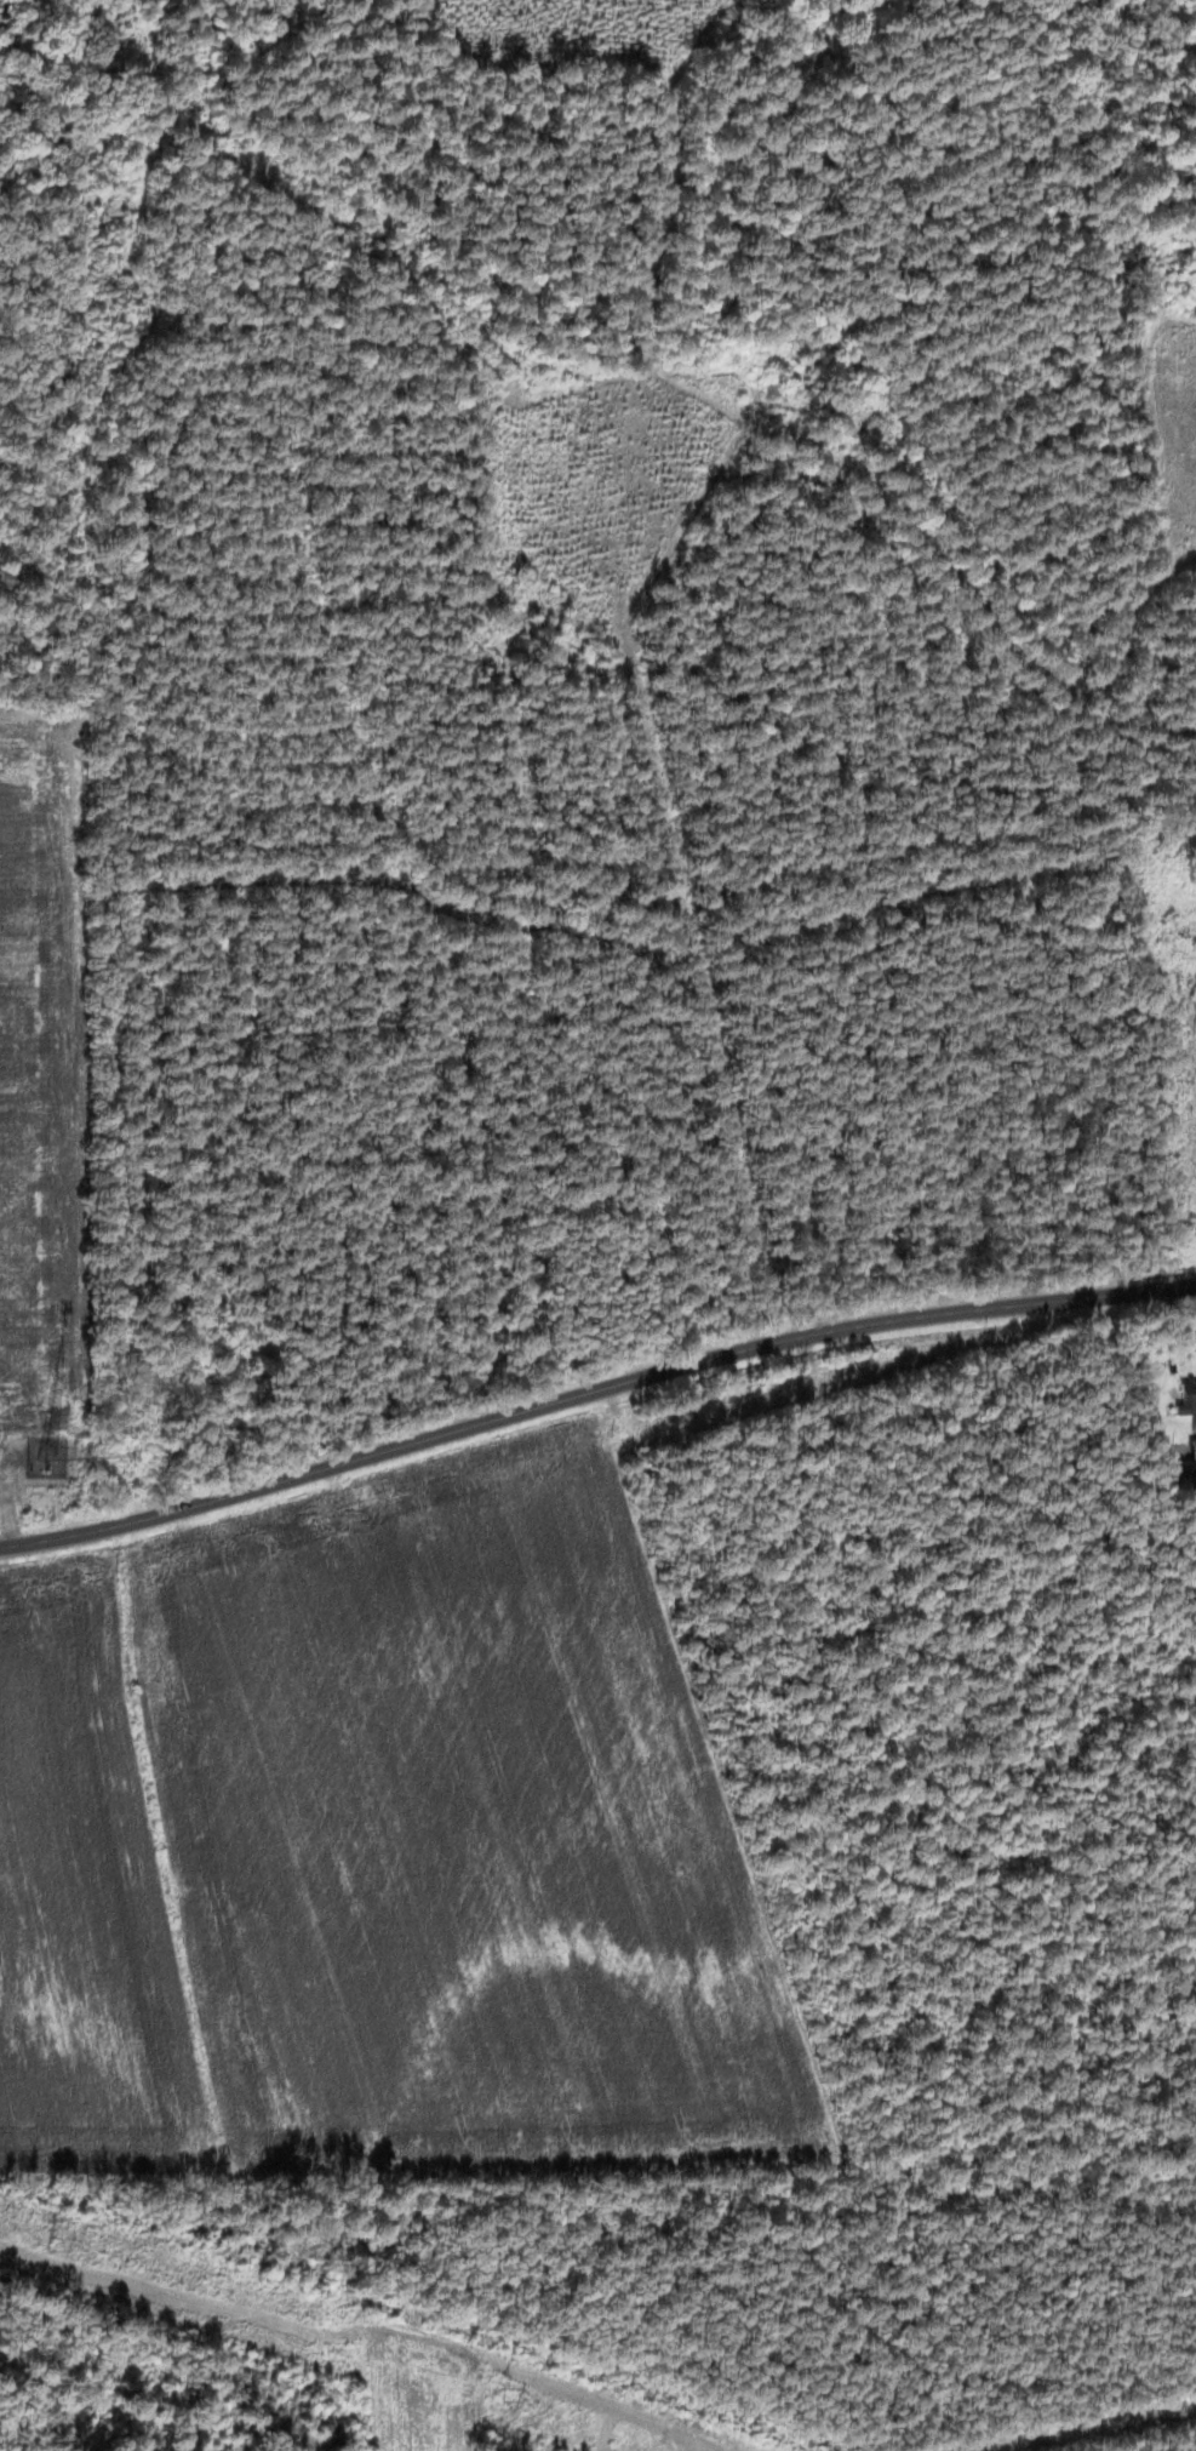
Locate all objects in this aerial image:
road: (593, 1393)
building: (1185, 1398)
building: (1190, 1450)
road: (4, 1498)
power tower: (53, 2244)
power tower: (502, 2396)

